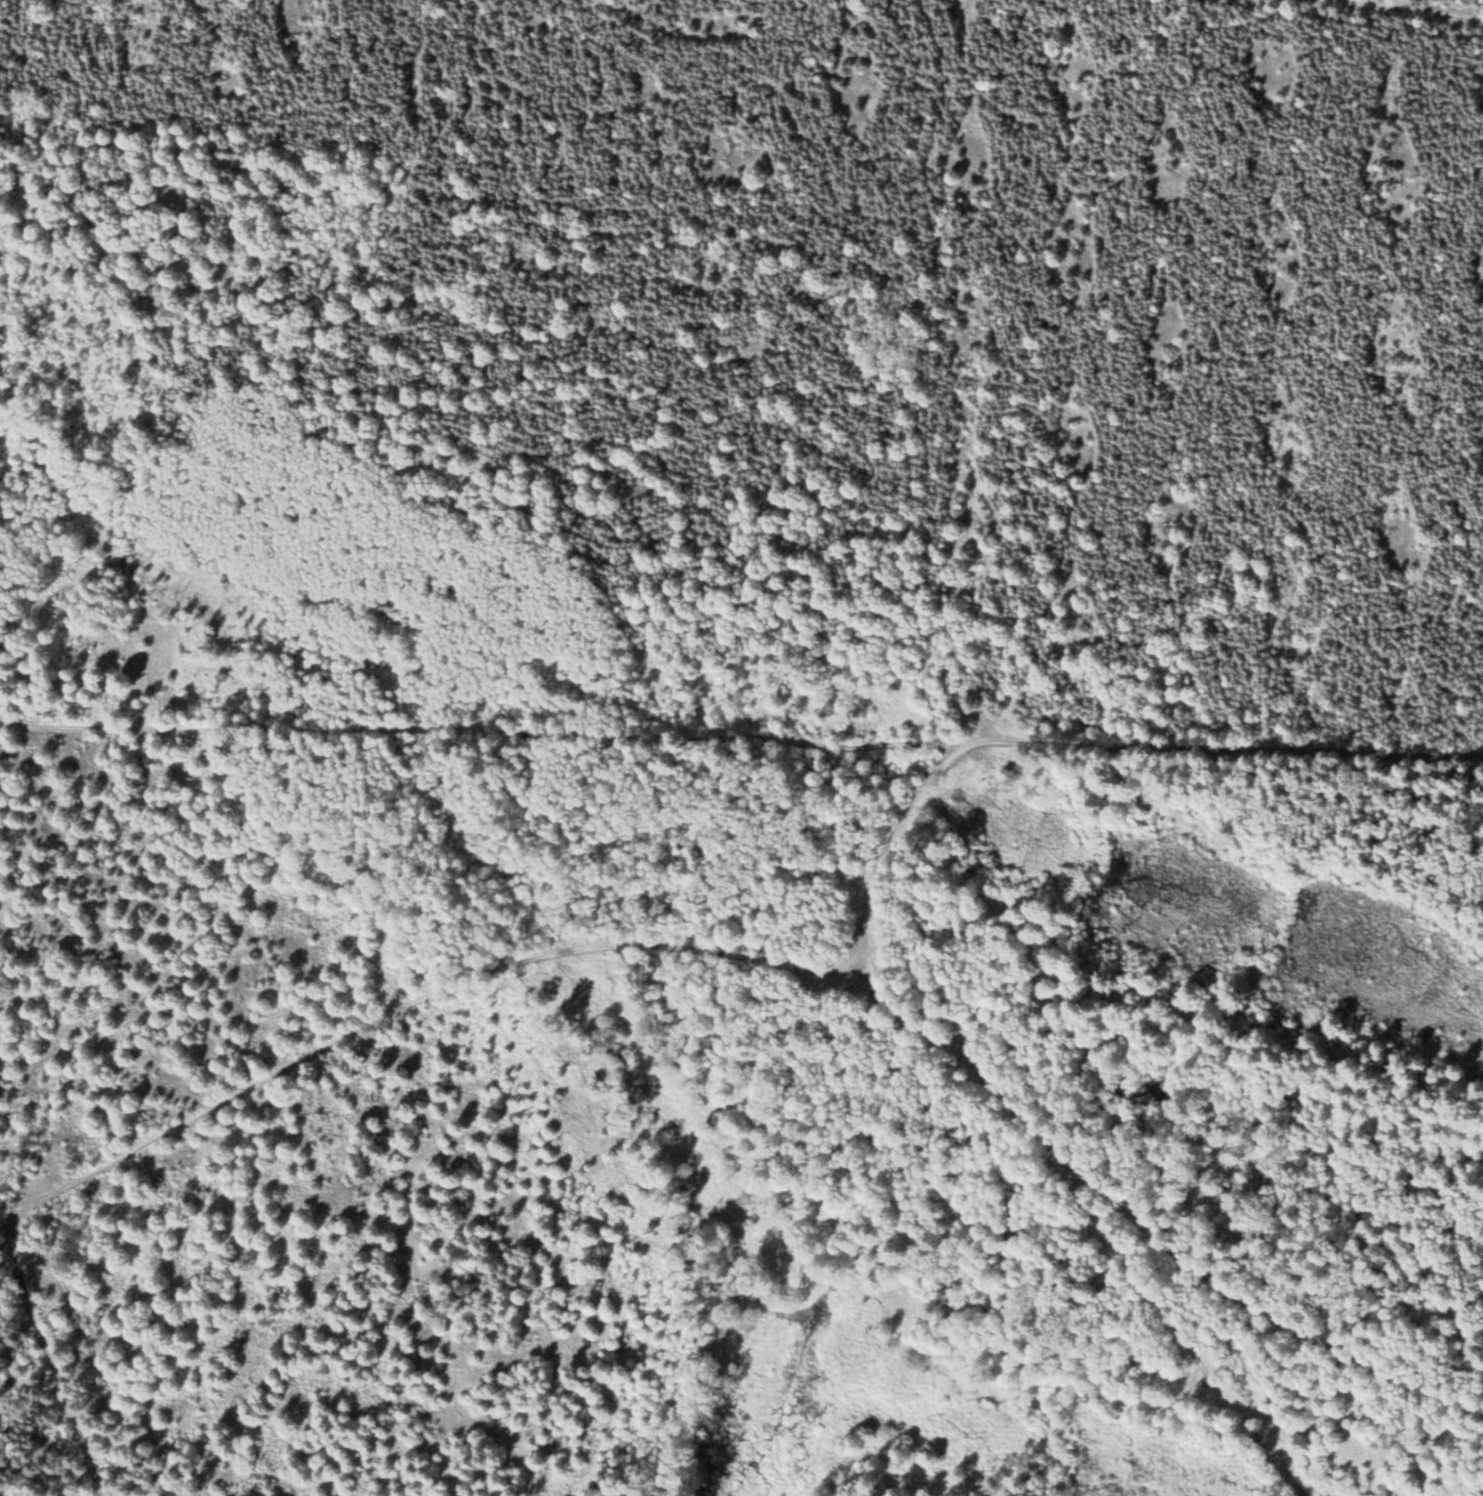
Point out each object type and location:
road: (1442, 6)
road: (741, 734)
road: (879, 852)
road: (745, 952)
road: (54, 1360)

